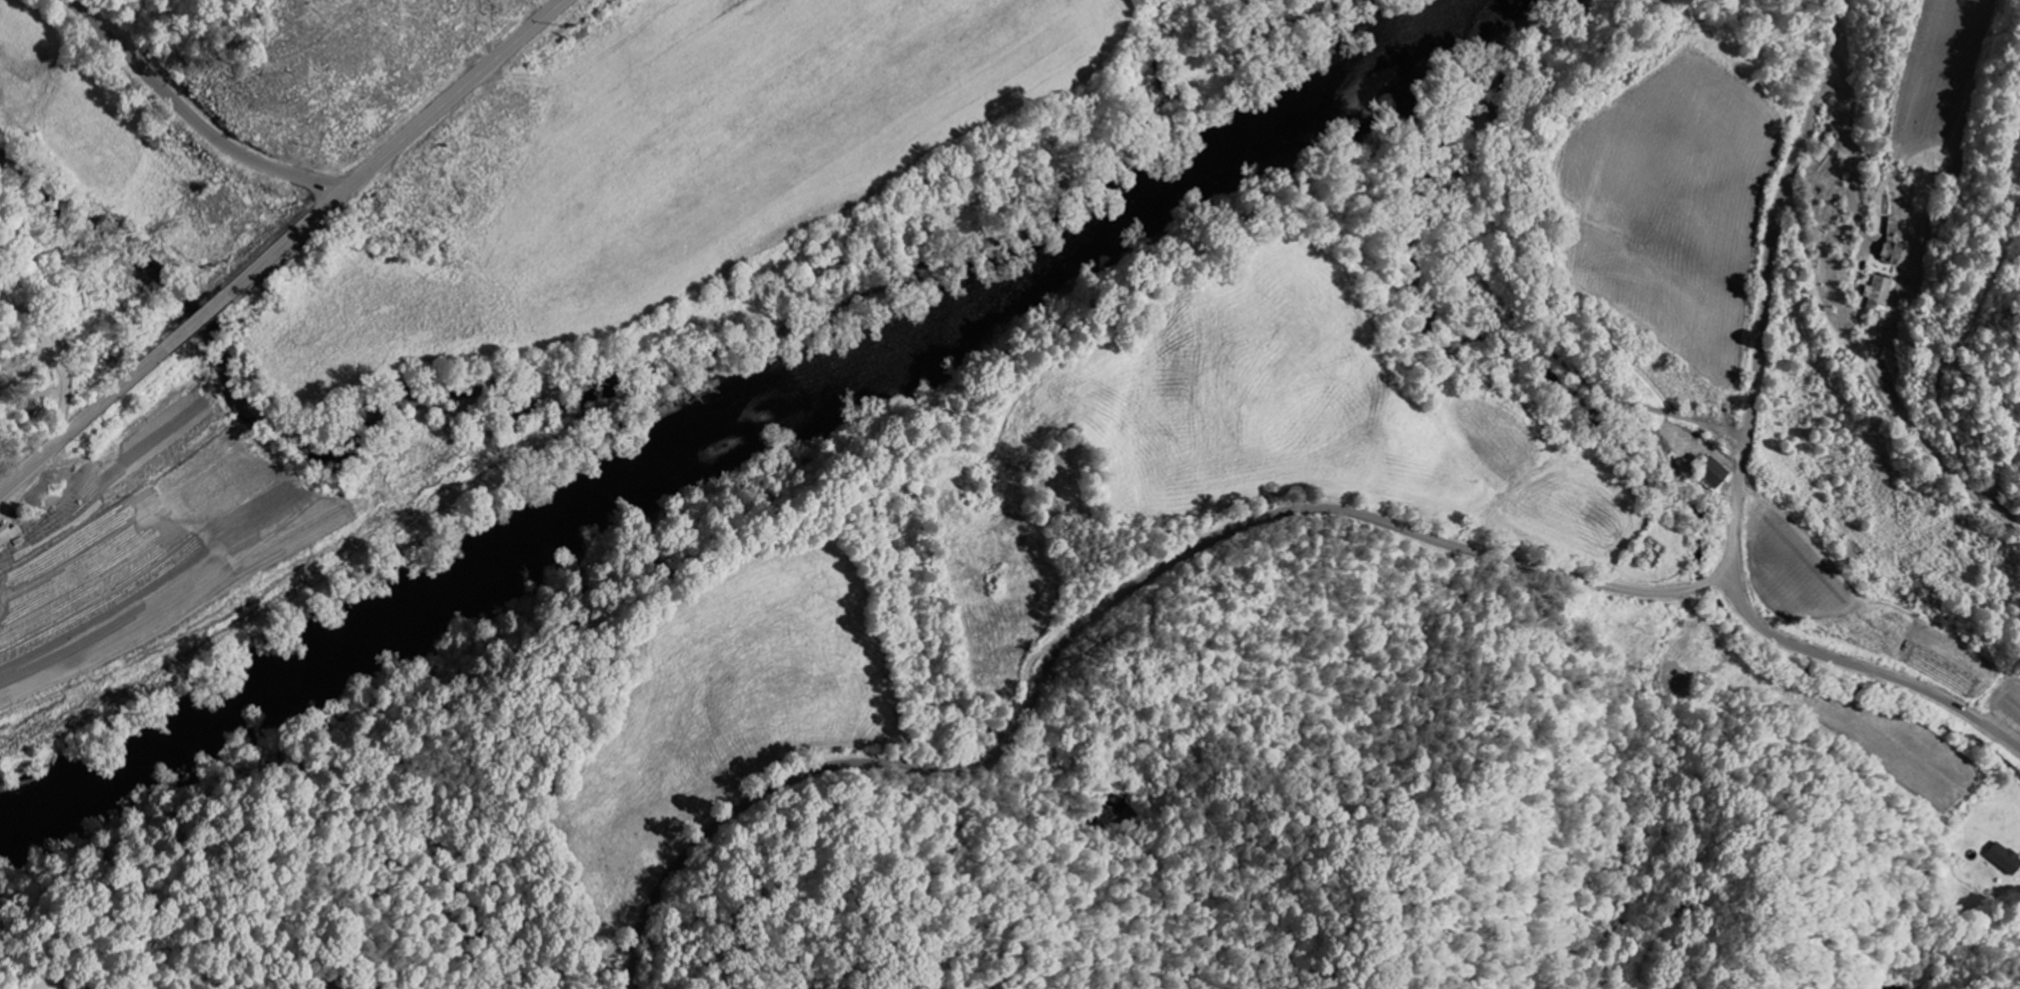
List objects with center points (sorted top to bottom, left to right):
road: (193, 118)
road: (282, 247)
building: (1878, 293)
road: (190, 311)
road: (53, 357)
river: (743, 420)
building: (1709, 472)
road: (1371, 516)
building: (8, 533)
road: (1868, 670)
building: (2004, 858)

